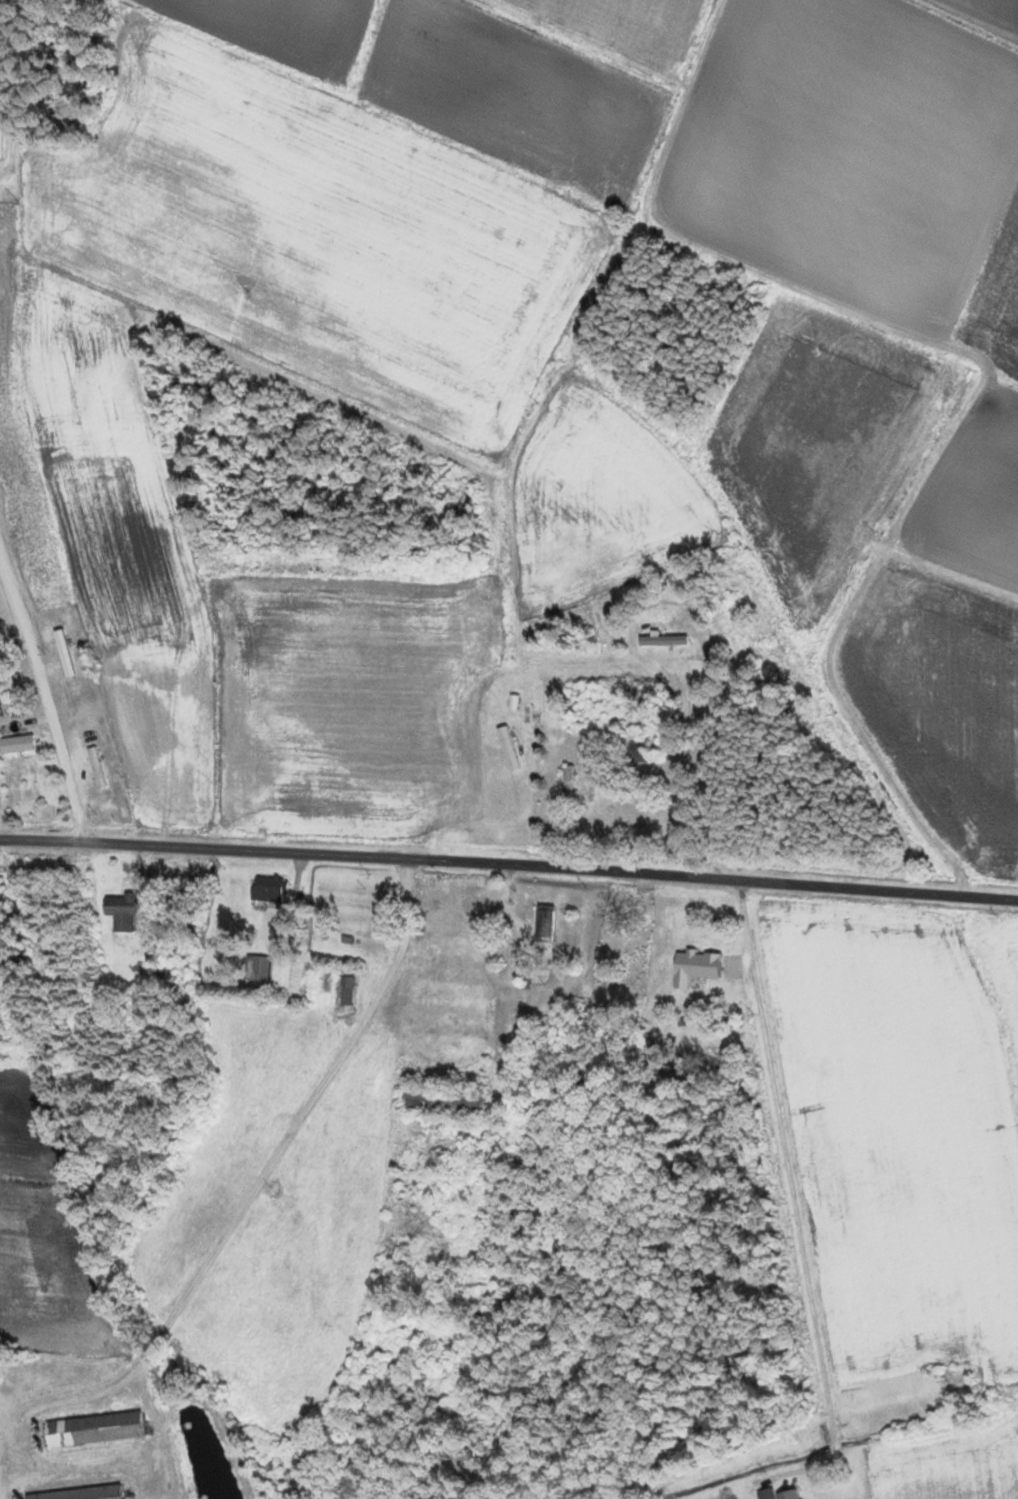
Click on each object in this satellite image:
building: (1, 134)
road: (614, 355)
road: (859, 411)
road: (441, 499)
building: (64, 653)
road: (45, 698)
building: (16, 744)
building: (631, 746)
building: (95, 767)
building: (566, 780)
road: (509, 862)
building: (268, 888)
building: (121, 911)
building: (542, 923)
building: (695, 964)
building: (256, 968)
road: (718, 973)
building: (345, 989)
building: (440, 1098)
road: (307, 1141)
building: (92, 1429)
building: (76, 1493)
building: (787, 1494)

